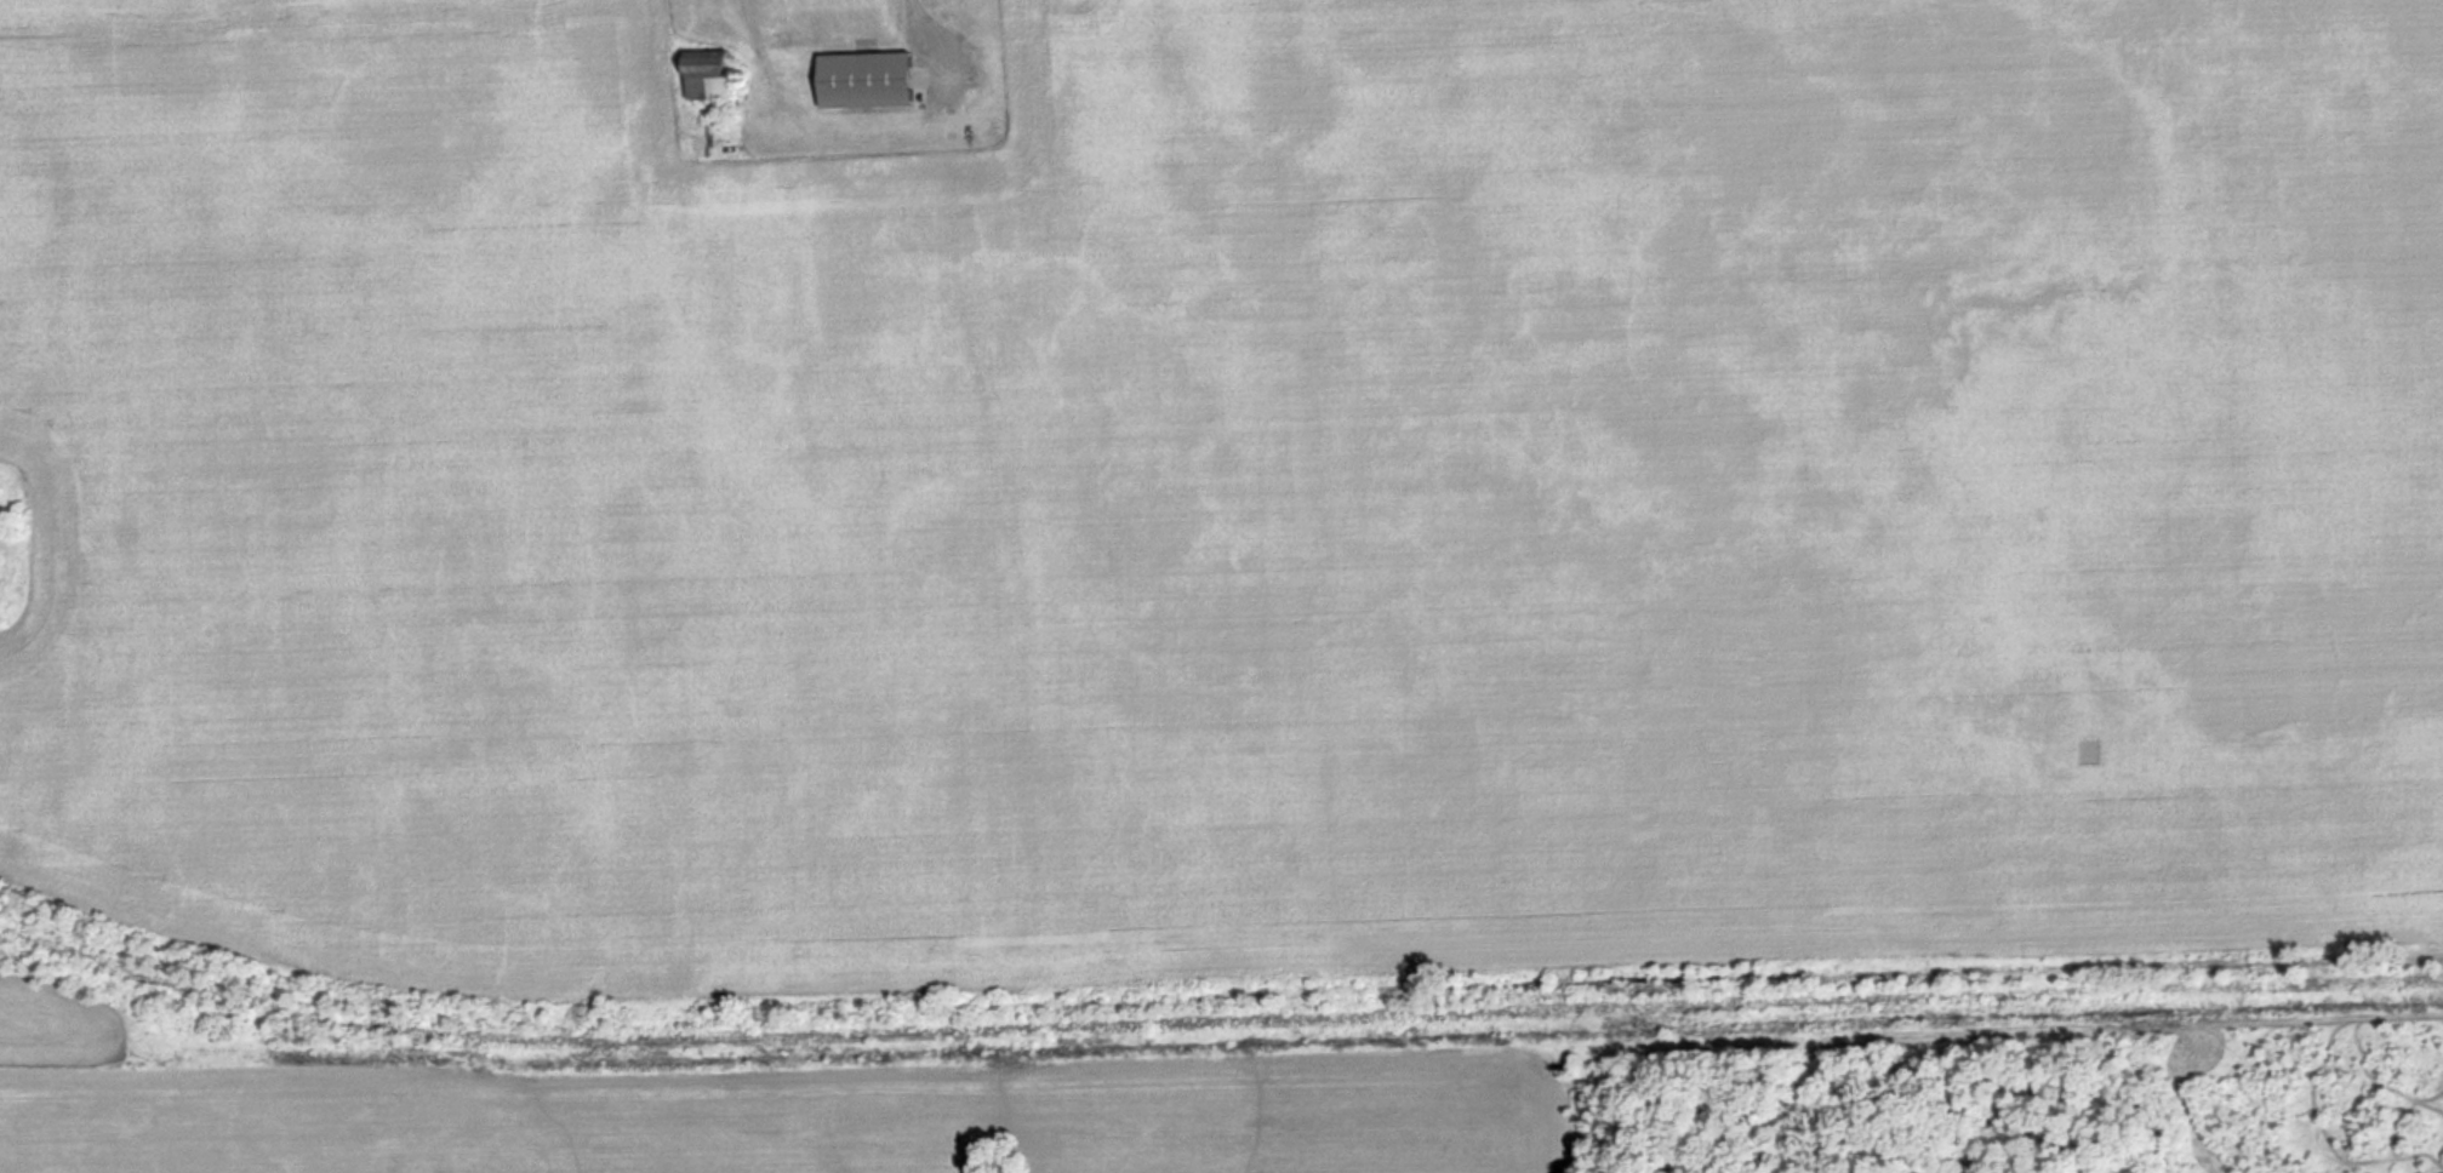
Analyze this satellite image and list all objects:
building: (712, 74)
building: (869, 79)
building: (784, 110)
railway: (1214, 1019)

